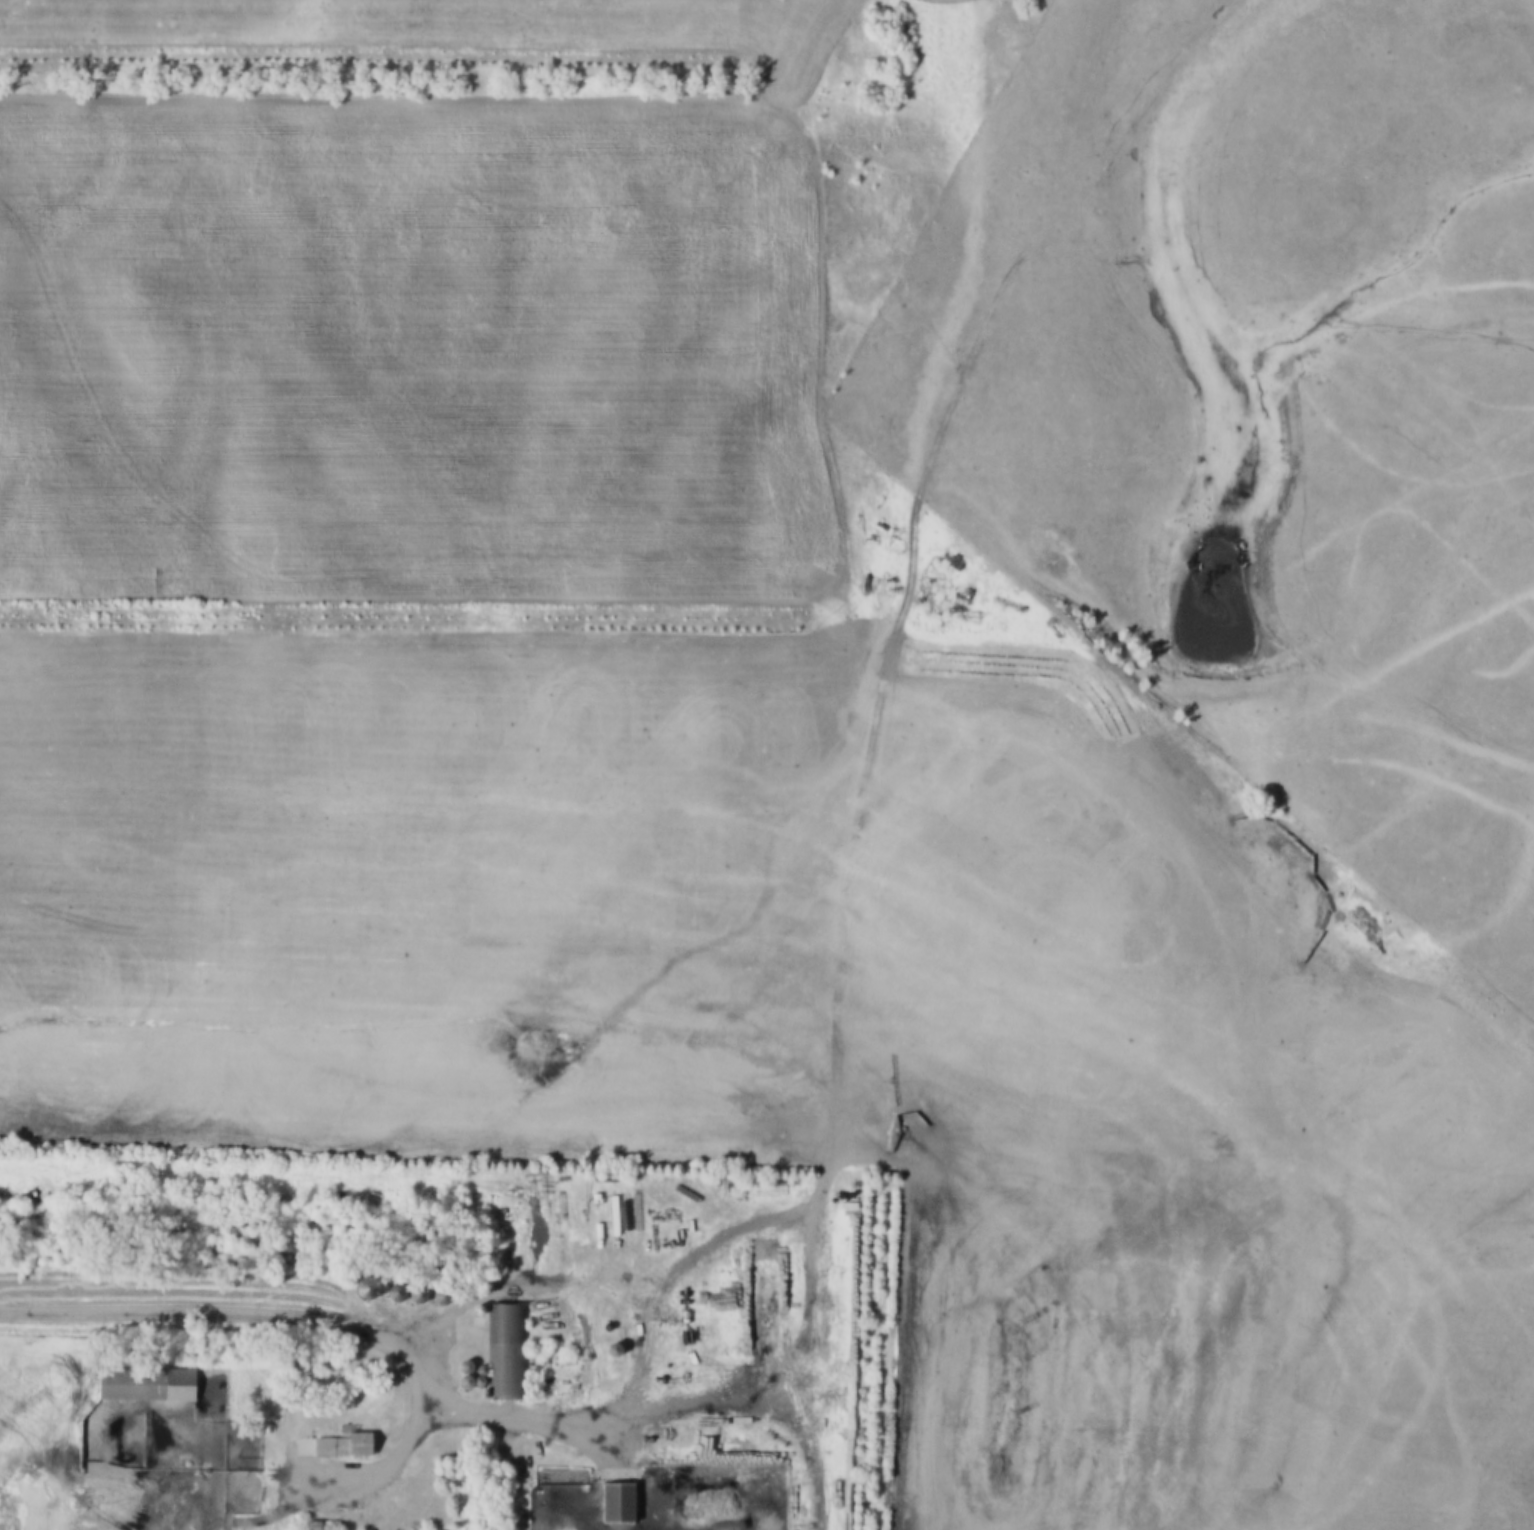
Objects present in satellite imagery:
road: (859, 911)
road: (941, 1090)
road: (320, 1319)
building: (503, 1324)
building: (147, 1386)
road: (514, 1410)
building: (347, 1445)
building: (617, 1505)

